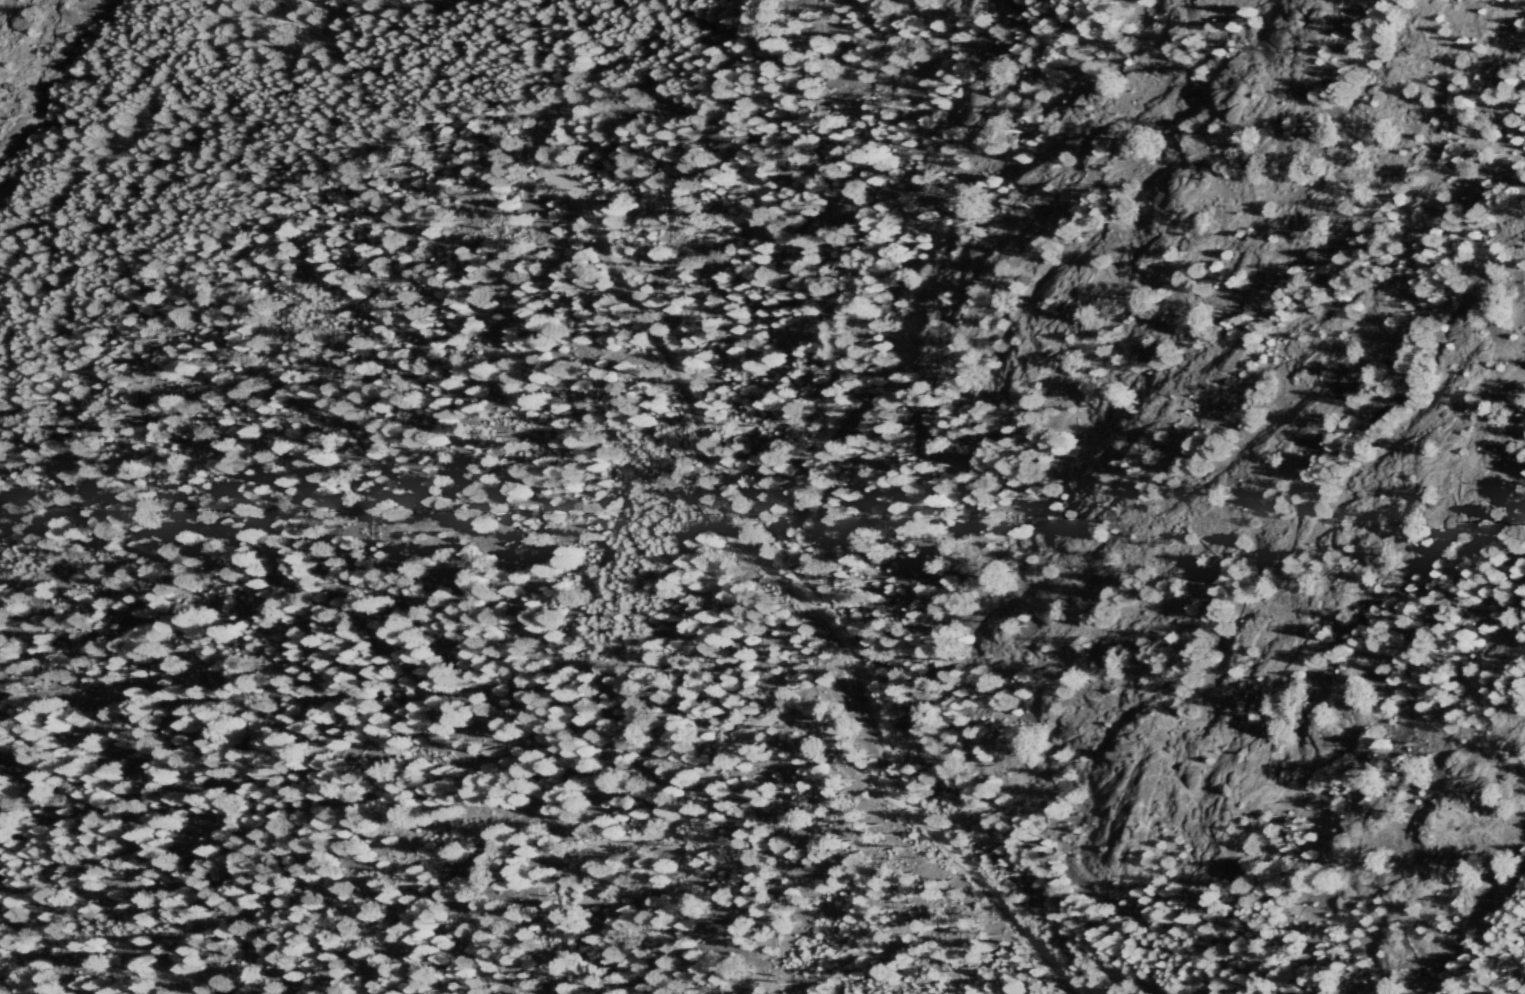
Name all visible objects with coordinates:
road: (607, 45)
road: (597, 138)
parking lot: (559, 167)
road: (332, 233)
road: (784, 592)
road: (705, 806)

